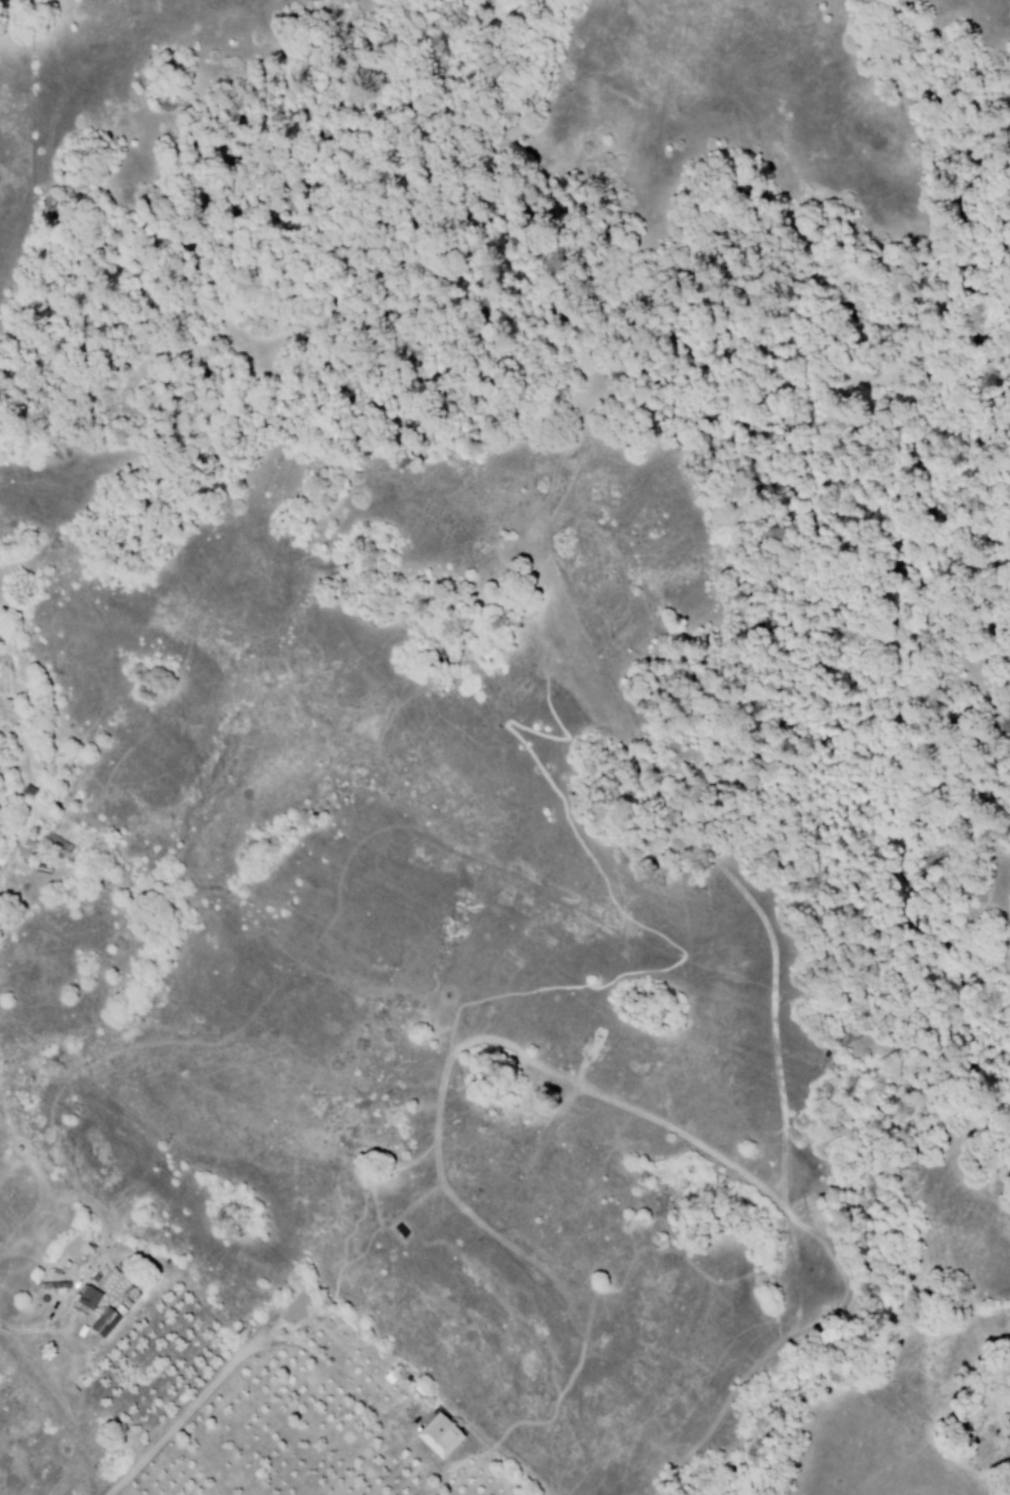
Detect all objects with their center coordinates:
building: (5, 705)
building: (56, 844)
building: (74, 1249)
building: (57, 1288)
building: (86, 1297)
building: (102, 1323)
building: (437, 1436)

